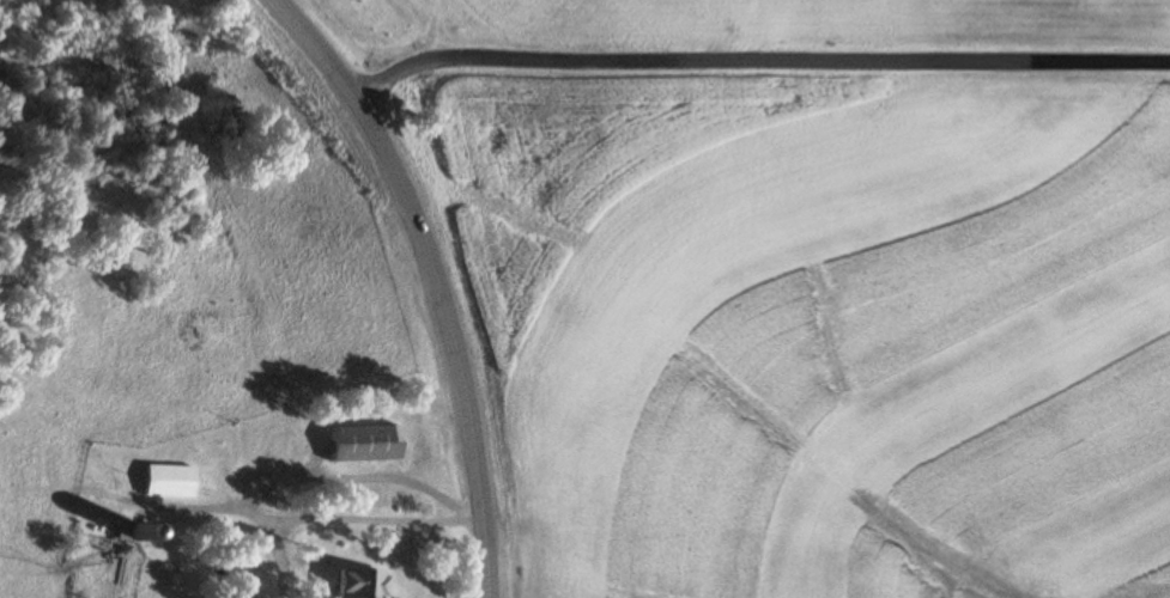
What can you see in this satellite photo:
road: (756, 65)
road: (431, 279)
building: (223, 443)
building: (363, 444)
building: (286, 452)
building: (165, 481)
building: (129, 533)
building: (359, 585)

